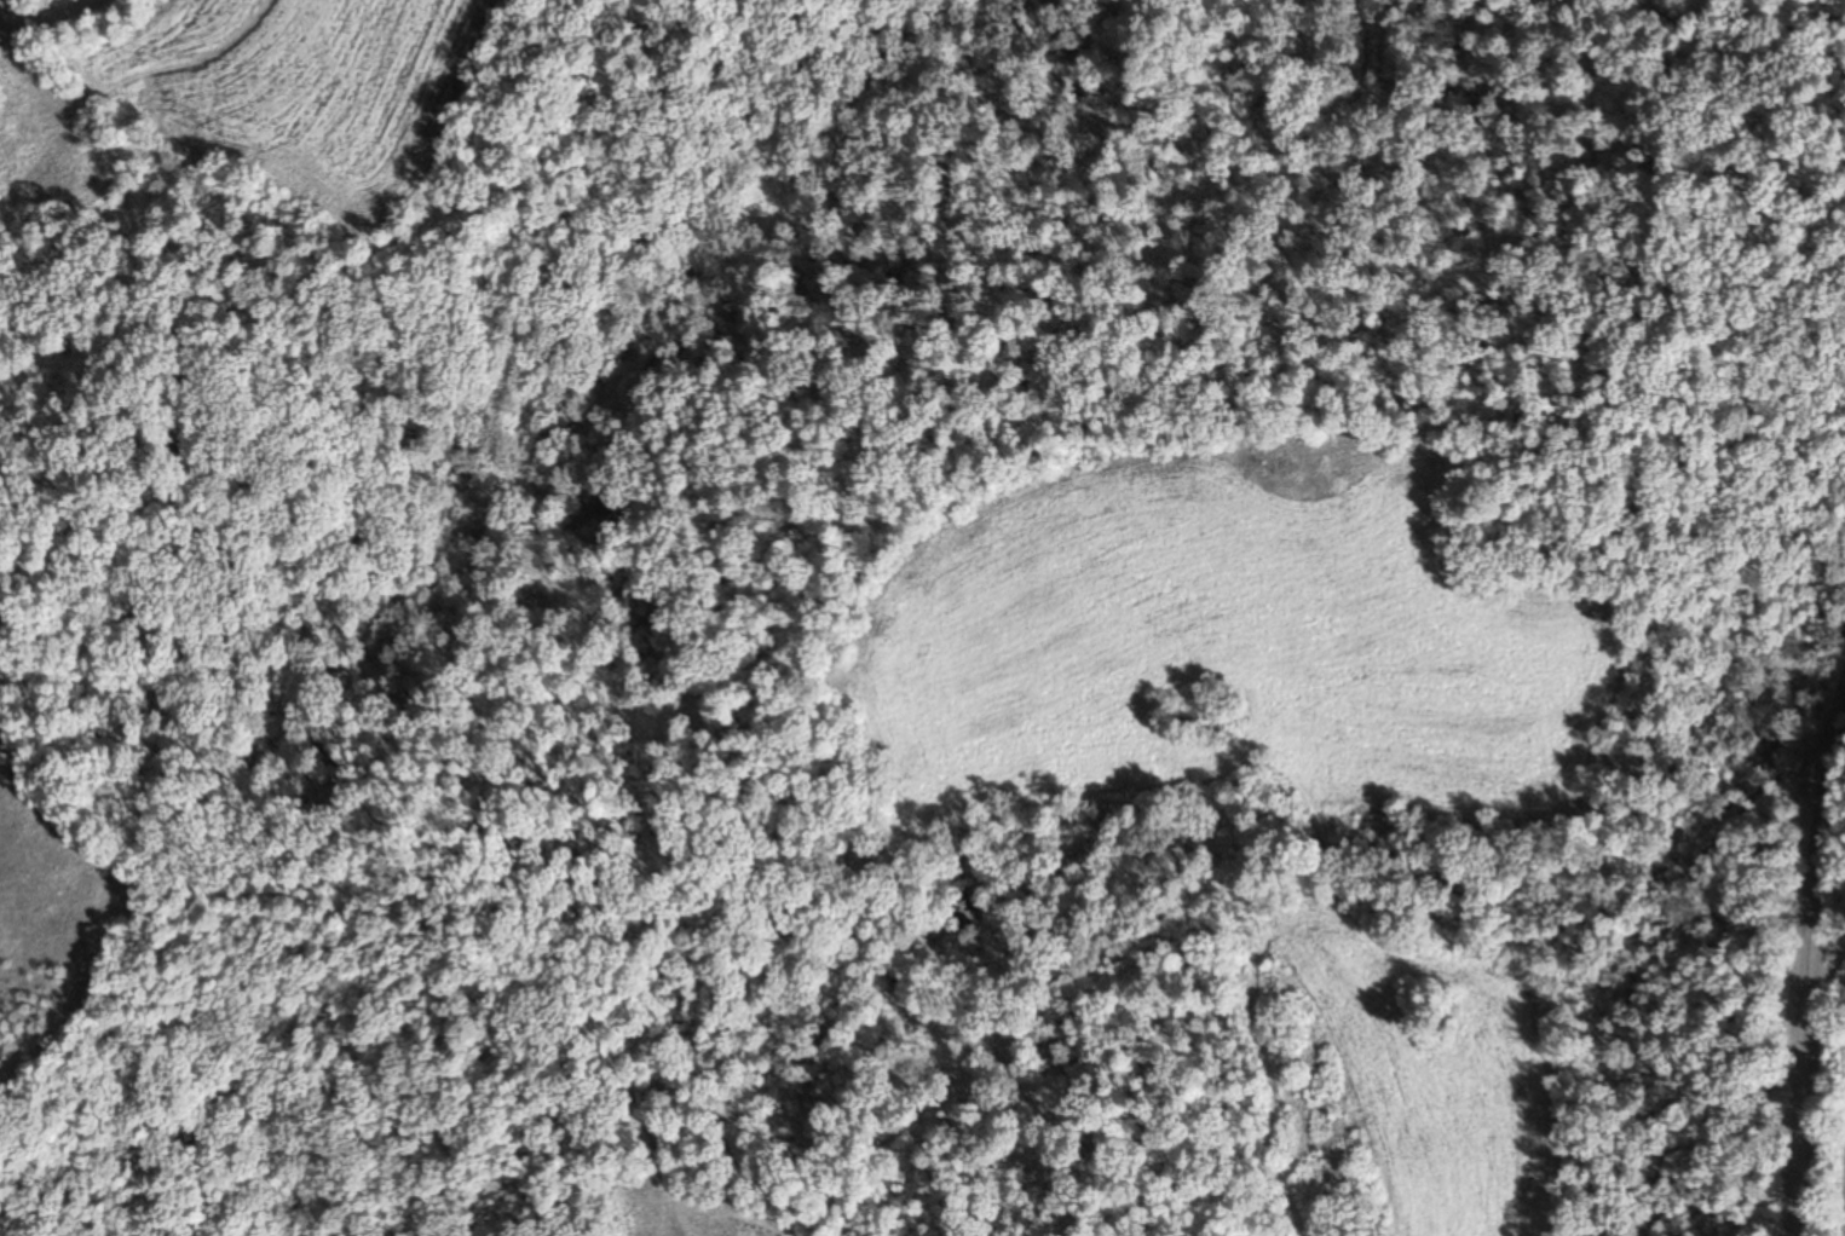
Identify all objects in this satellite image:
road: (64, 48)
road: (1770, 987)

